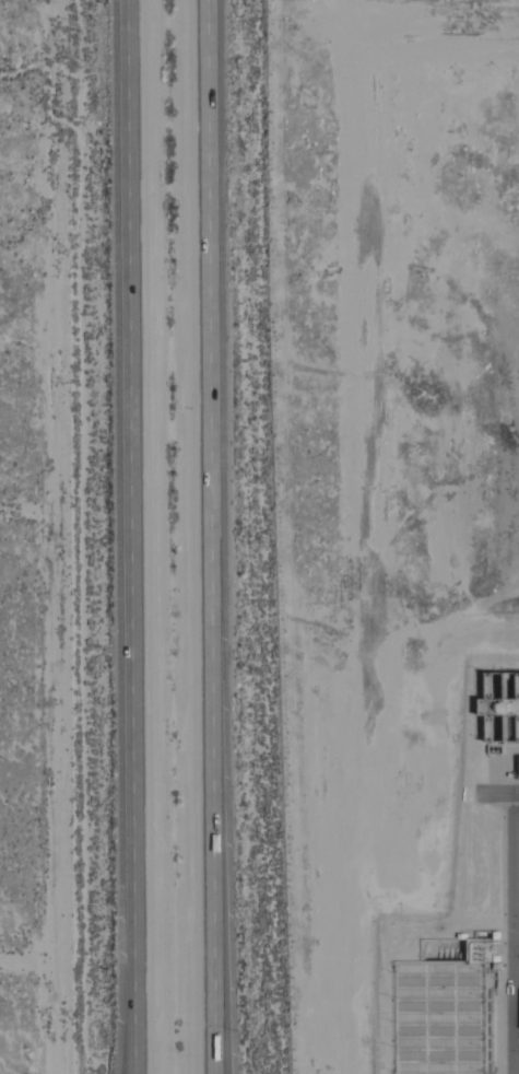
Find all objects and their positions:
wastewater plant: (394, 527)
road: (210, 536)
road: (130, 537)
building: (503, 705)
road: (493, 793)
road: (510, 933)
road: (131, 1051)
road: (214, 1073)
road: (214, 1073)

